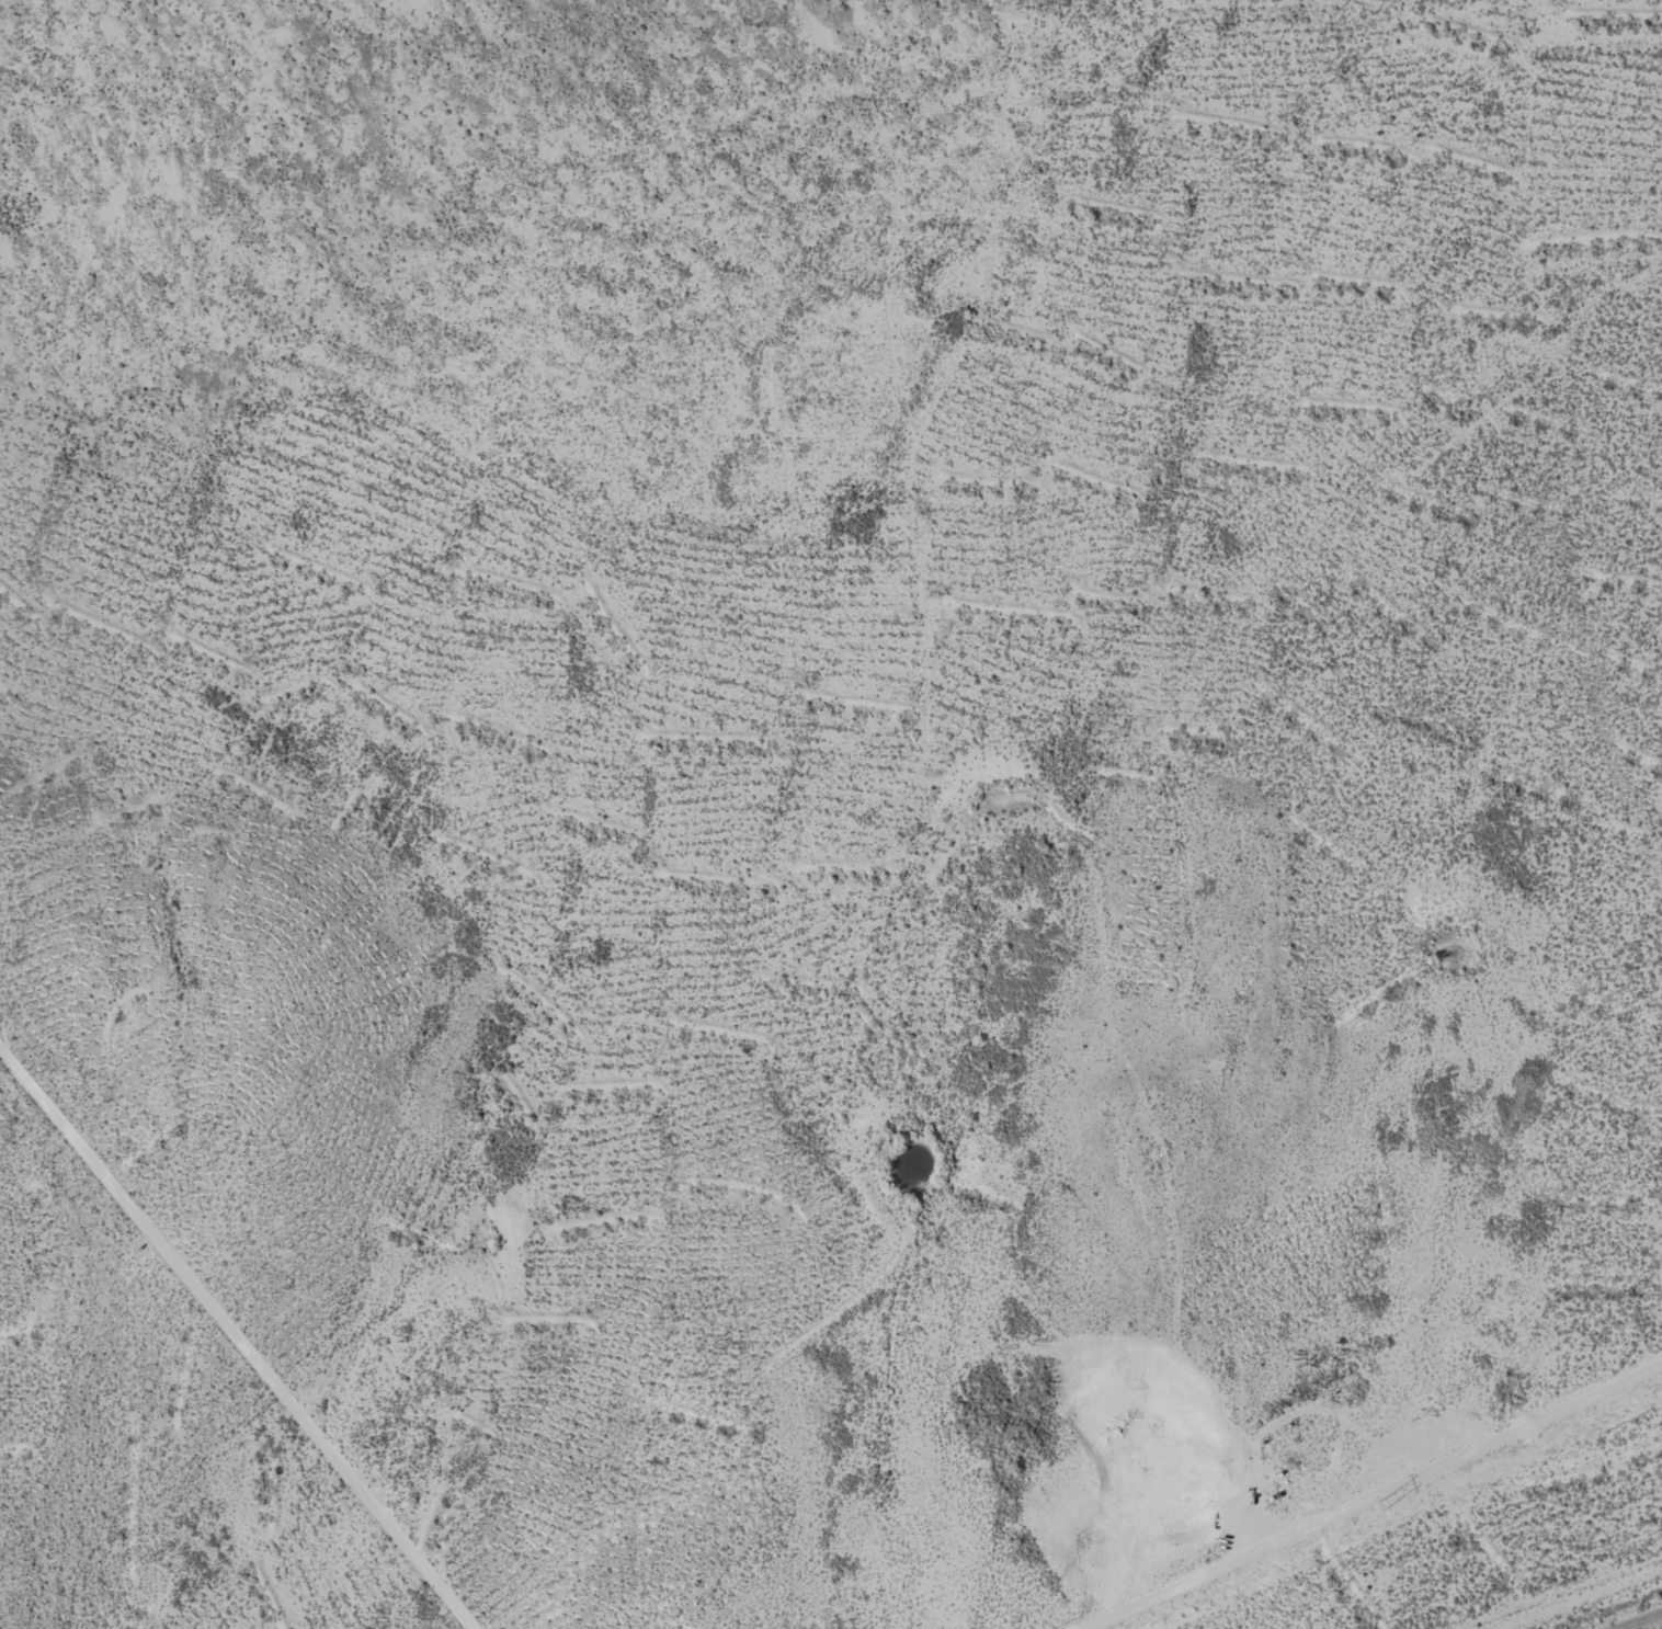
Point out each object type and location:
power tower: (1384, 1504)
road: (1489, 1571)
railway: (1640, 1621)

